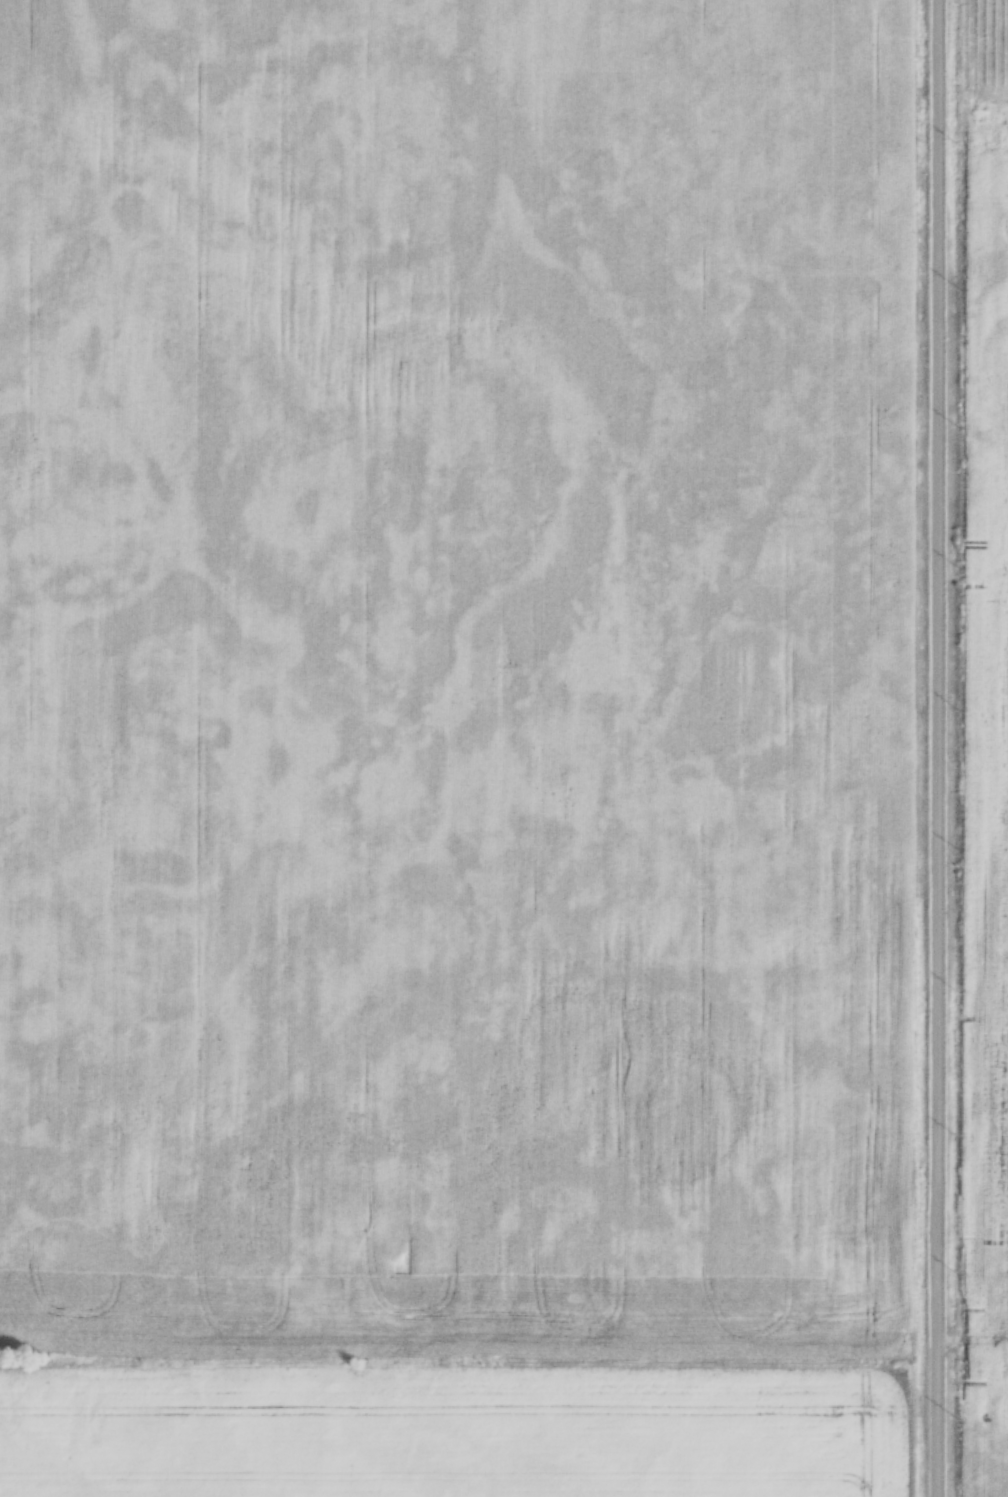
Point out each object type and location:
road: (939, 748)

